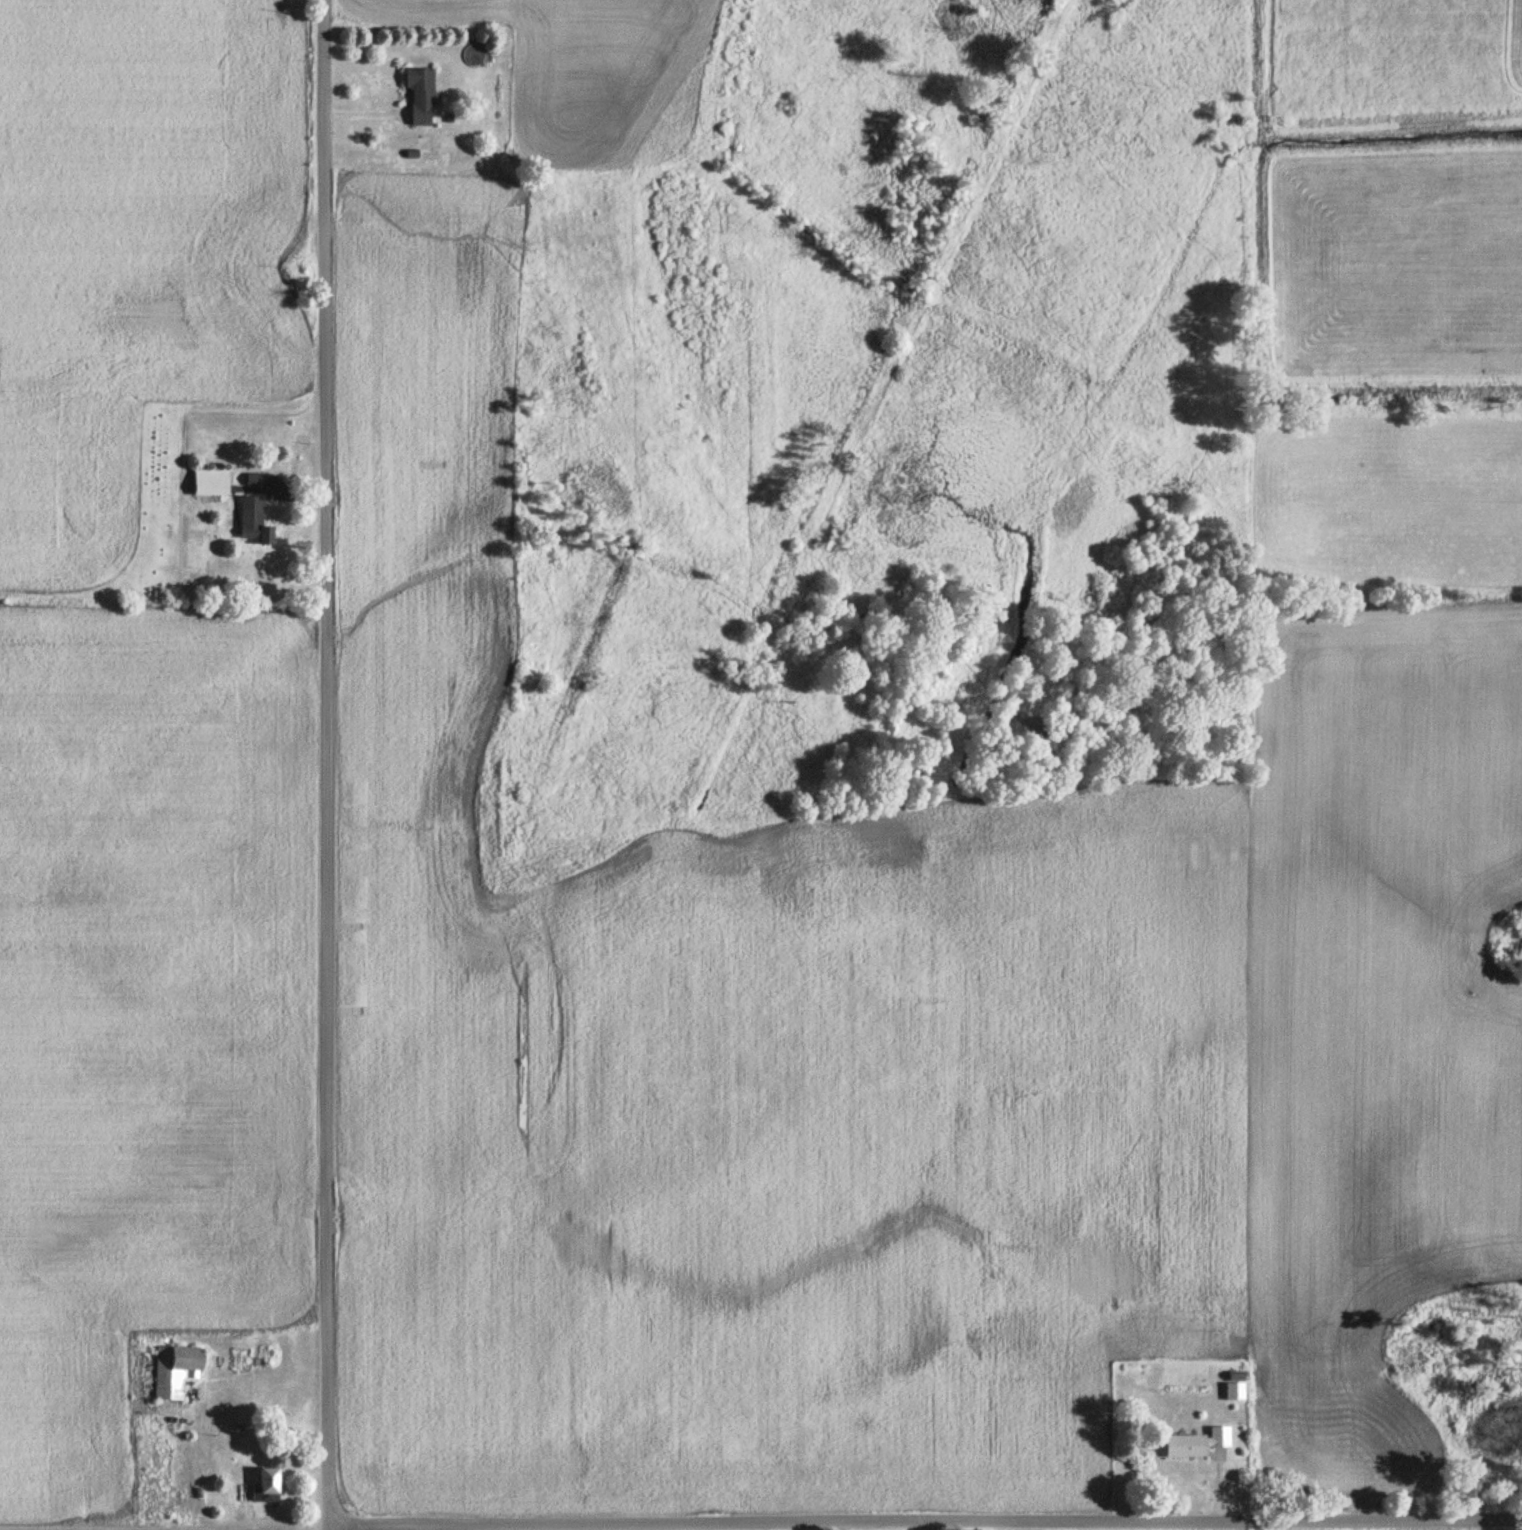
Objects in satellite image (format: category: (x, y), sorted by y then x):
building: (474, 56)
building: (419, 96)
road: (357, 112)
building: (209, 482)
road: (287, 495)
building: (252, 523)
road: (325, 765)
building: (244, 1358)
building: (175, 1368)
building: (1195, 1444)
building: (261, 1488)
building: (175, 1491)
road: (760, 1521)

